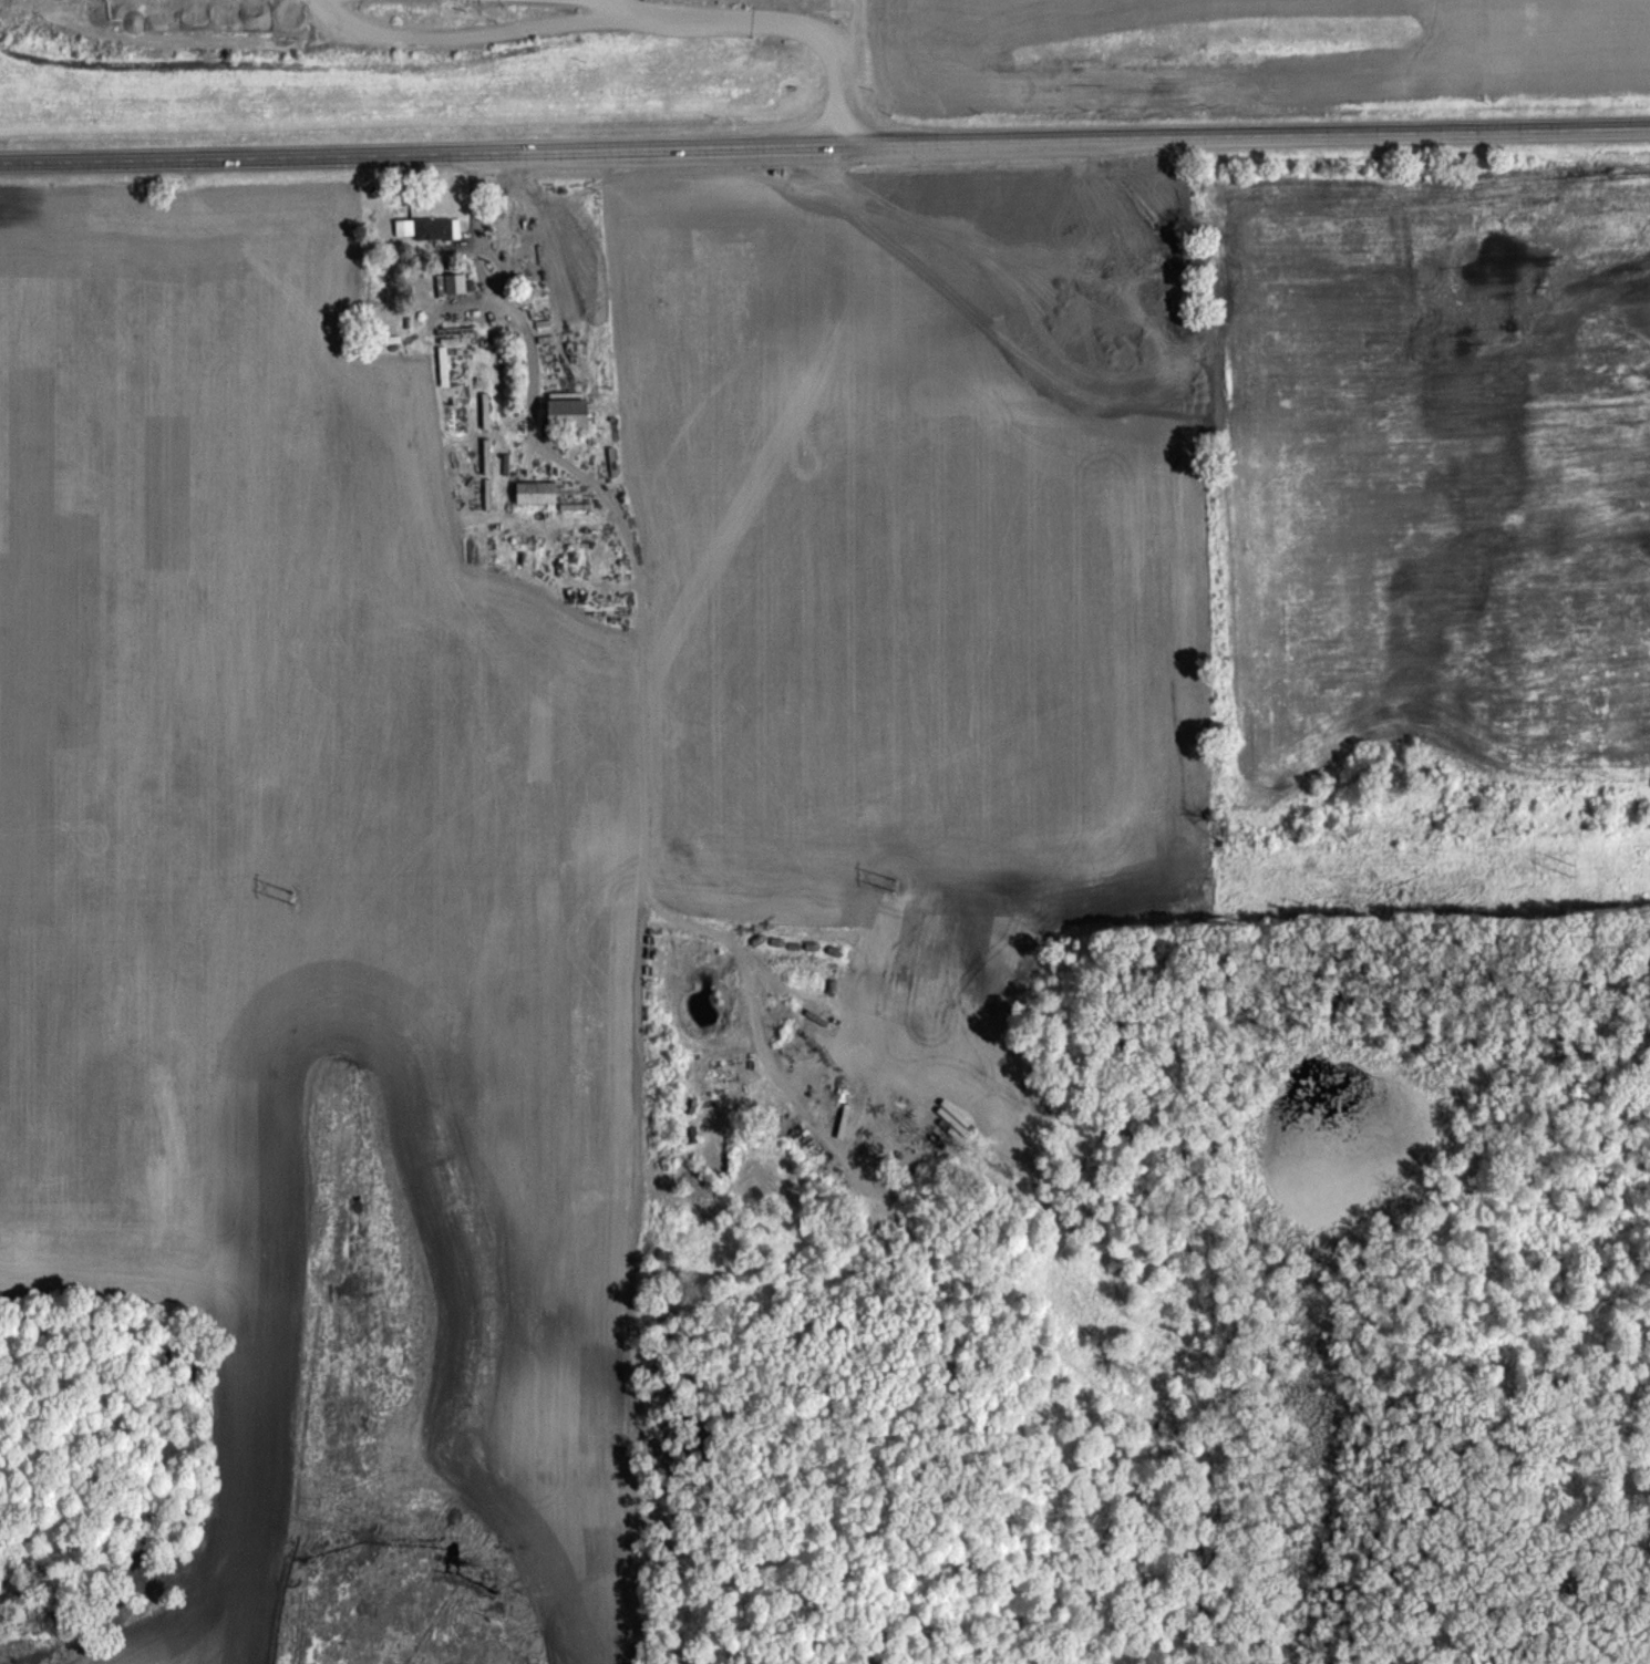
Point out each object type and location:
road: (852, 72)
road: (825, 144)
building: (402, 227)
building: (432, 228)
building: (566, 413)
building: (535, 493)
building: (844, 1182)

